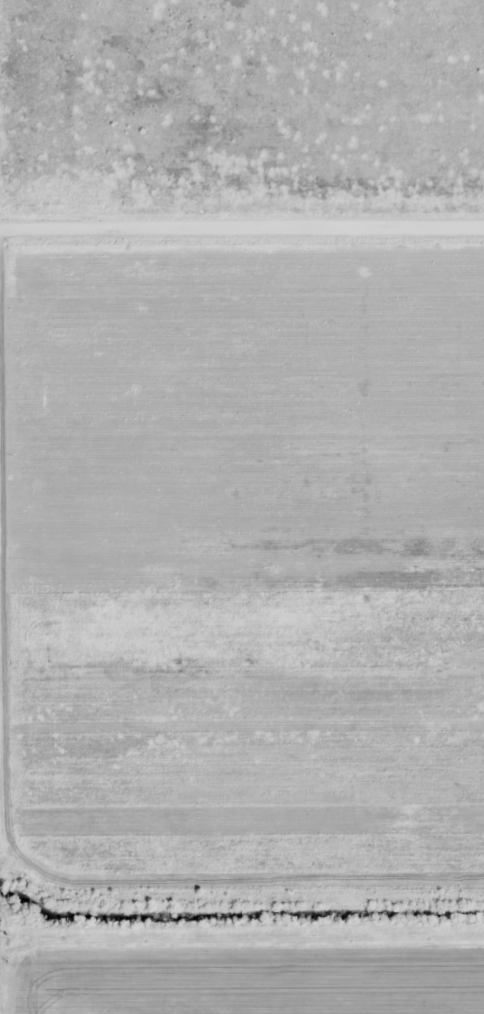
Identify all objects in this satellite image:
road: (242, 228)

